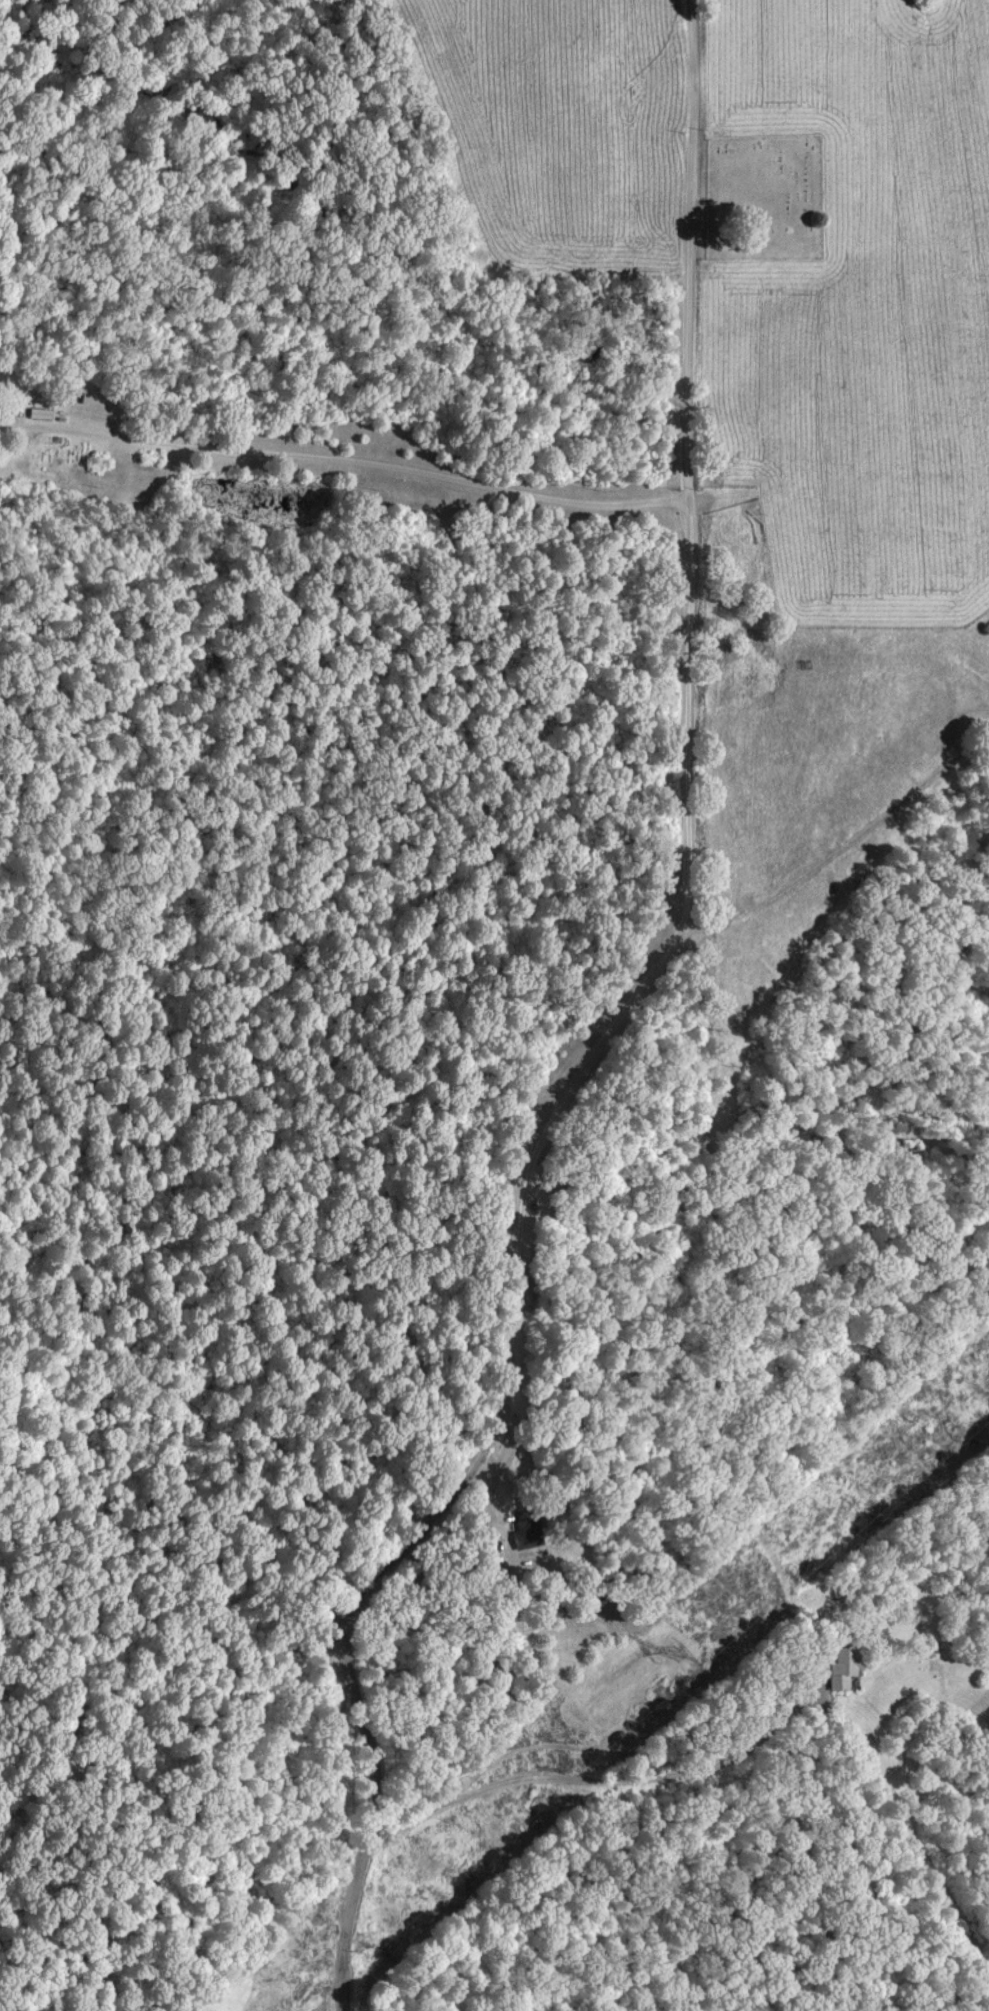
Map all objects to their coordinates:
building: (4, 379)
road: (345, 458)
road: (606, 1037)
building: (516, 1539)
power tower: (677, 1652)

